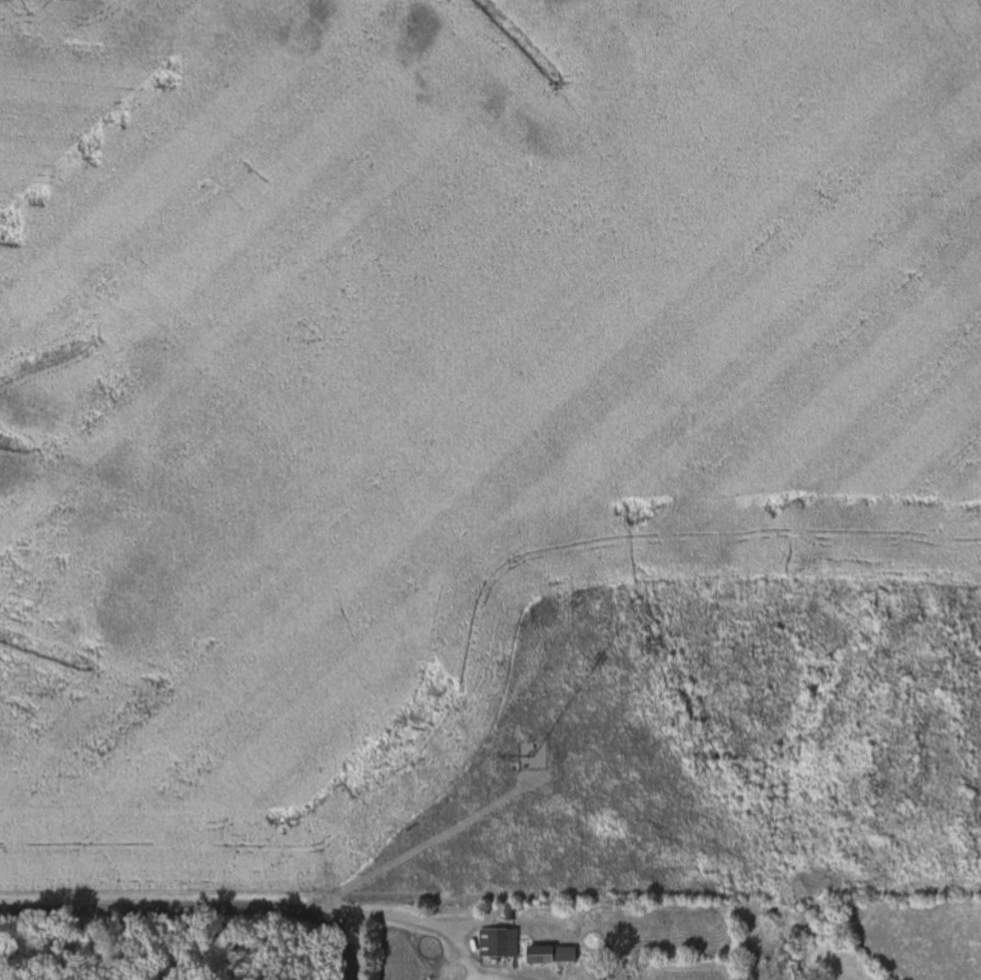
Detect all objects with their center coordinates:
road: (197, 913)
road: (411, 925)
building: (500, 943)
building: (543, 955)

